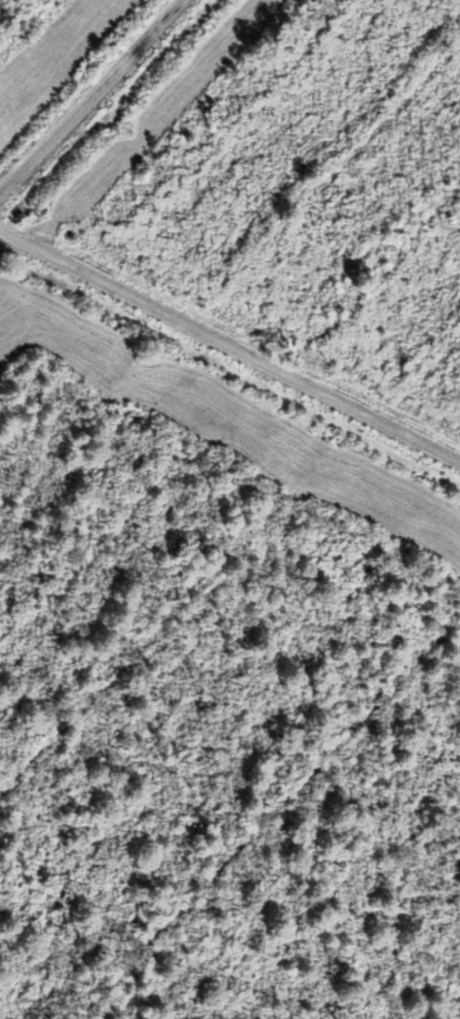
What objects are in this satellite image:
road: (90, 95)
road: (230, 345)

